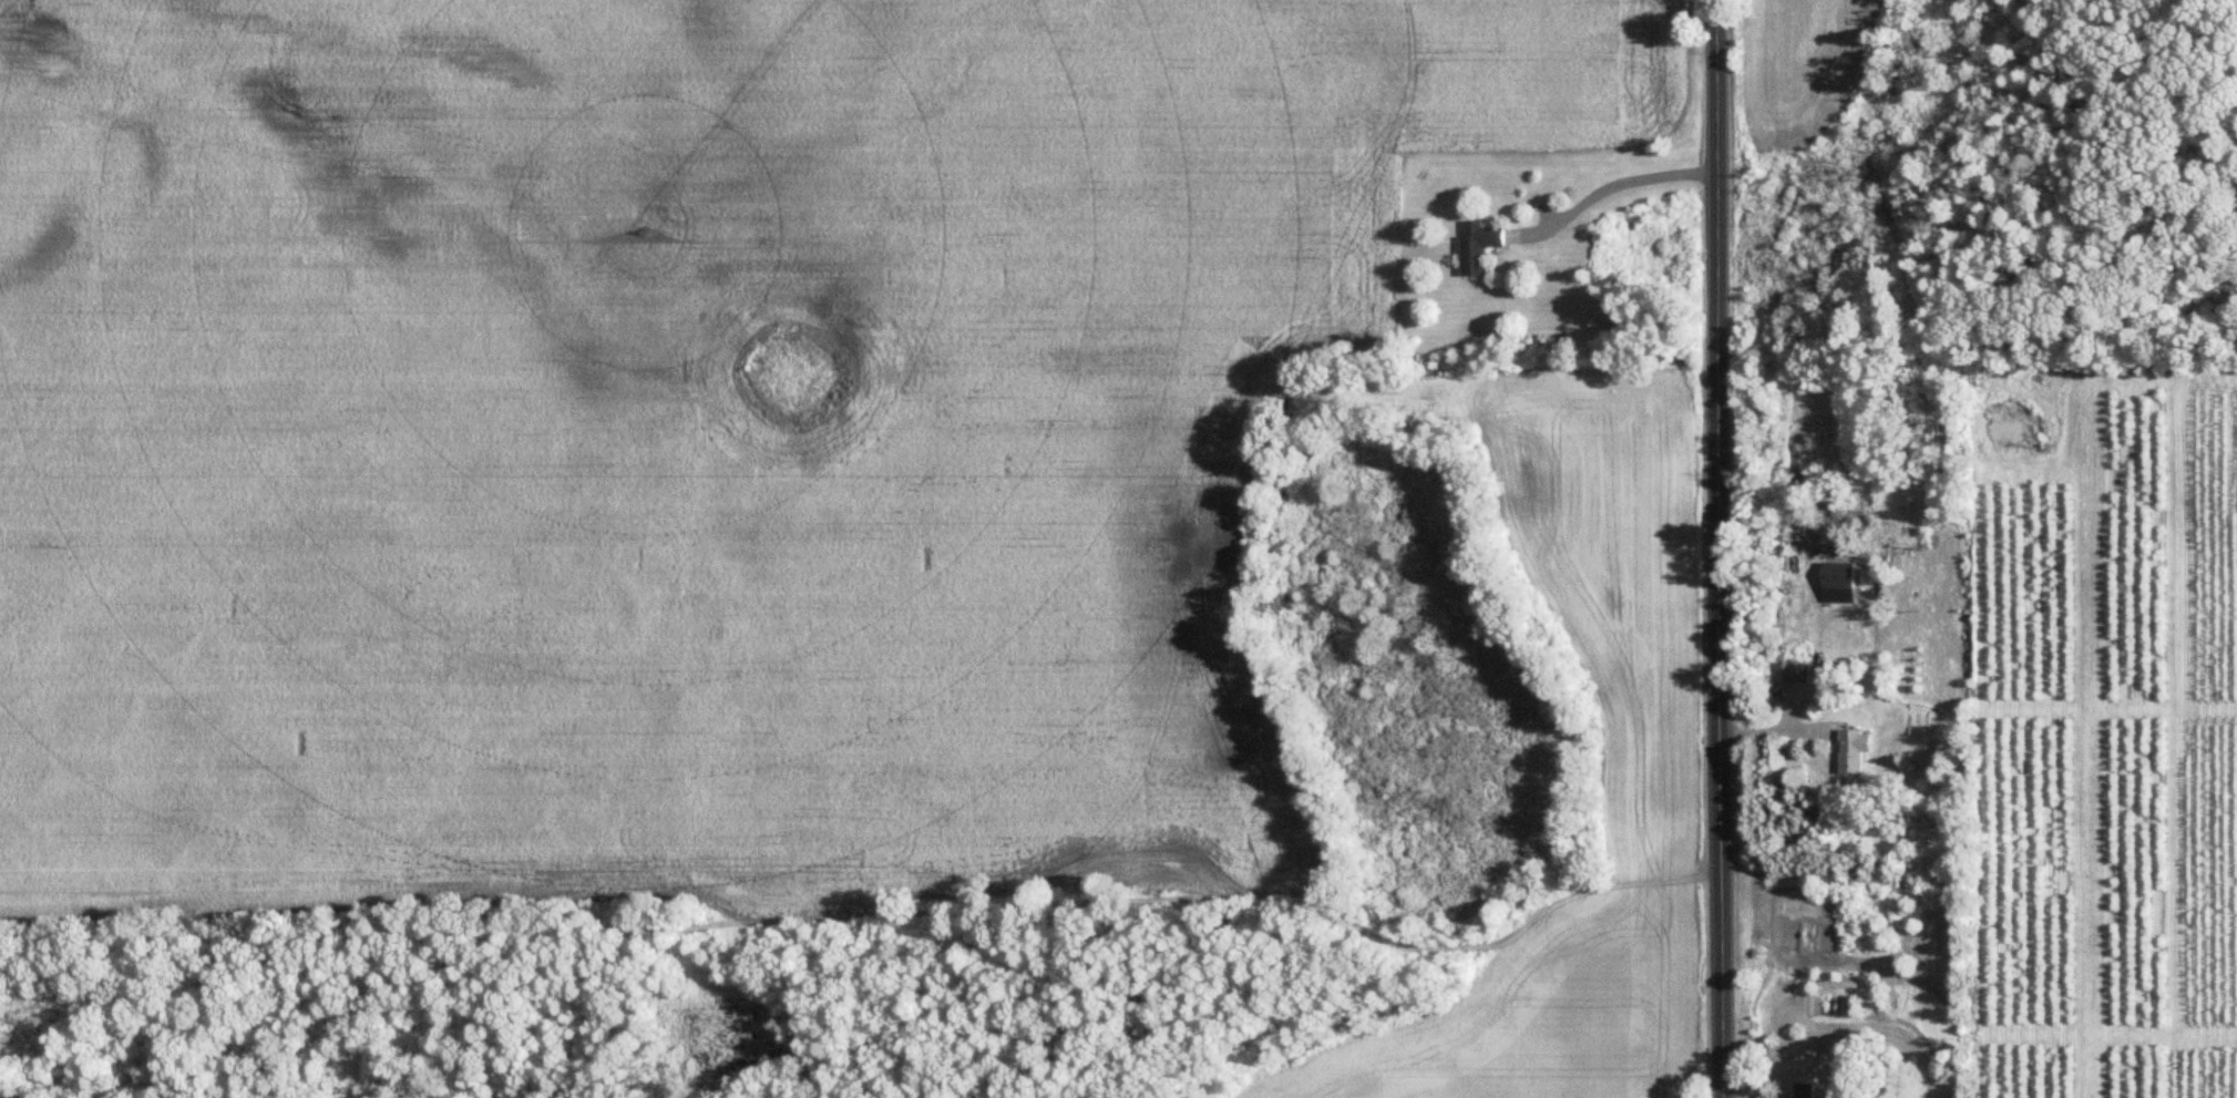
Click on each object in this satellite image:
road: (1611, 183)
building: (1478, 246)
road: (1717, 548)
building: (1838, 576)
building: (1785, 674)
building: (1853, 752)
building: (1805, 1091)

